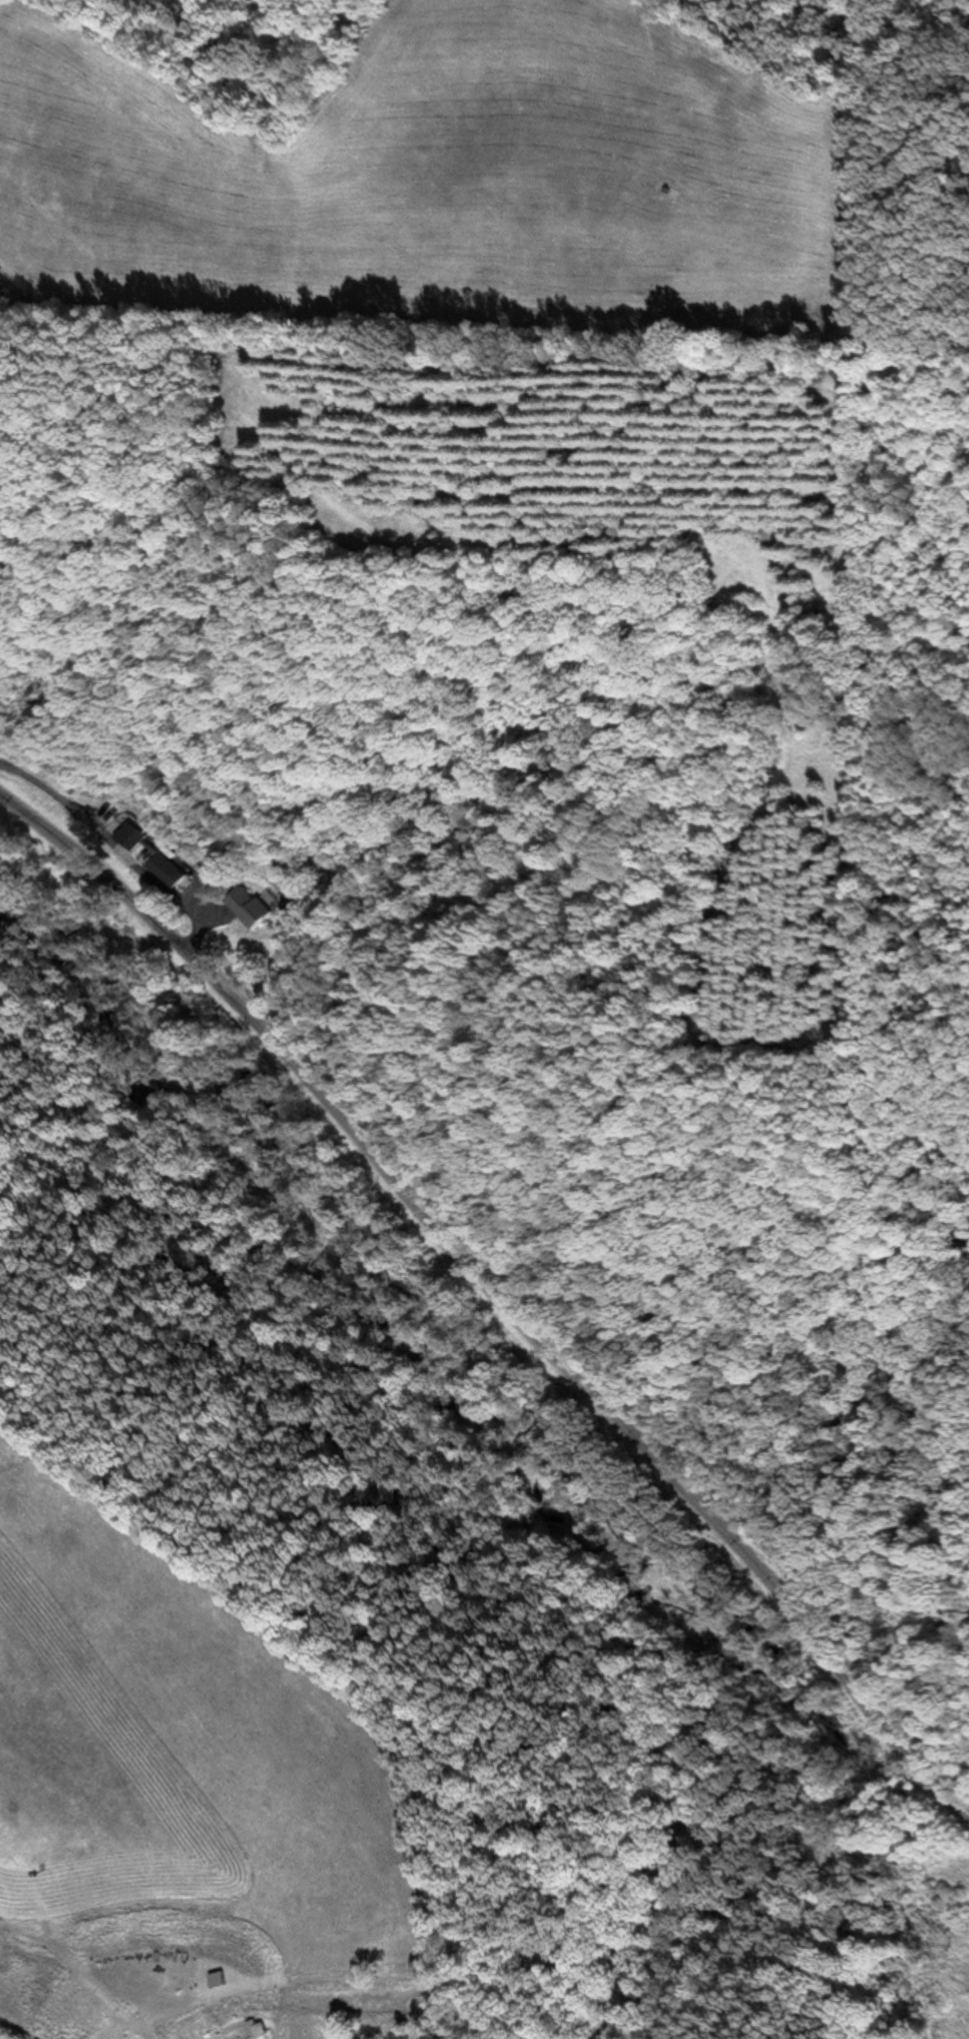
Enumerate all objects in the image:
building: (131, 838)
building: (166, 872)
building: (252, 910)
road: (497, 1290)
building: (239, 2026)

